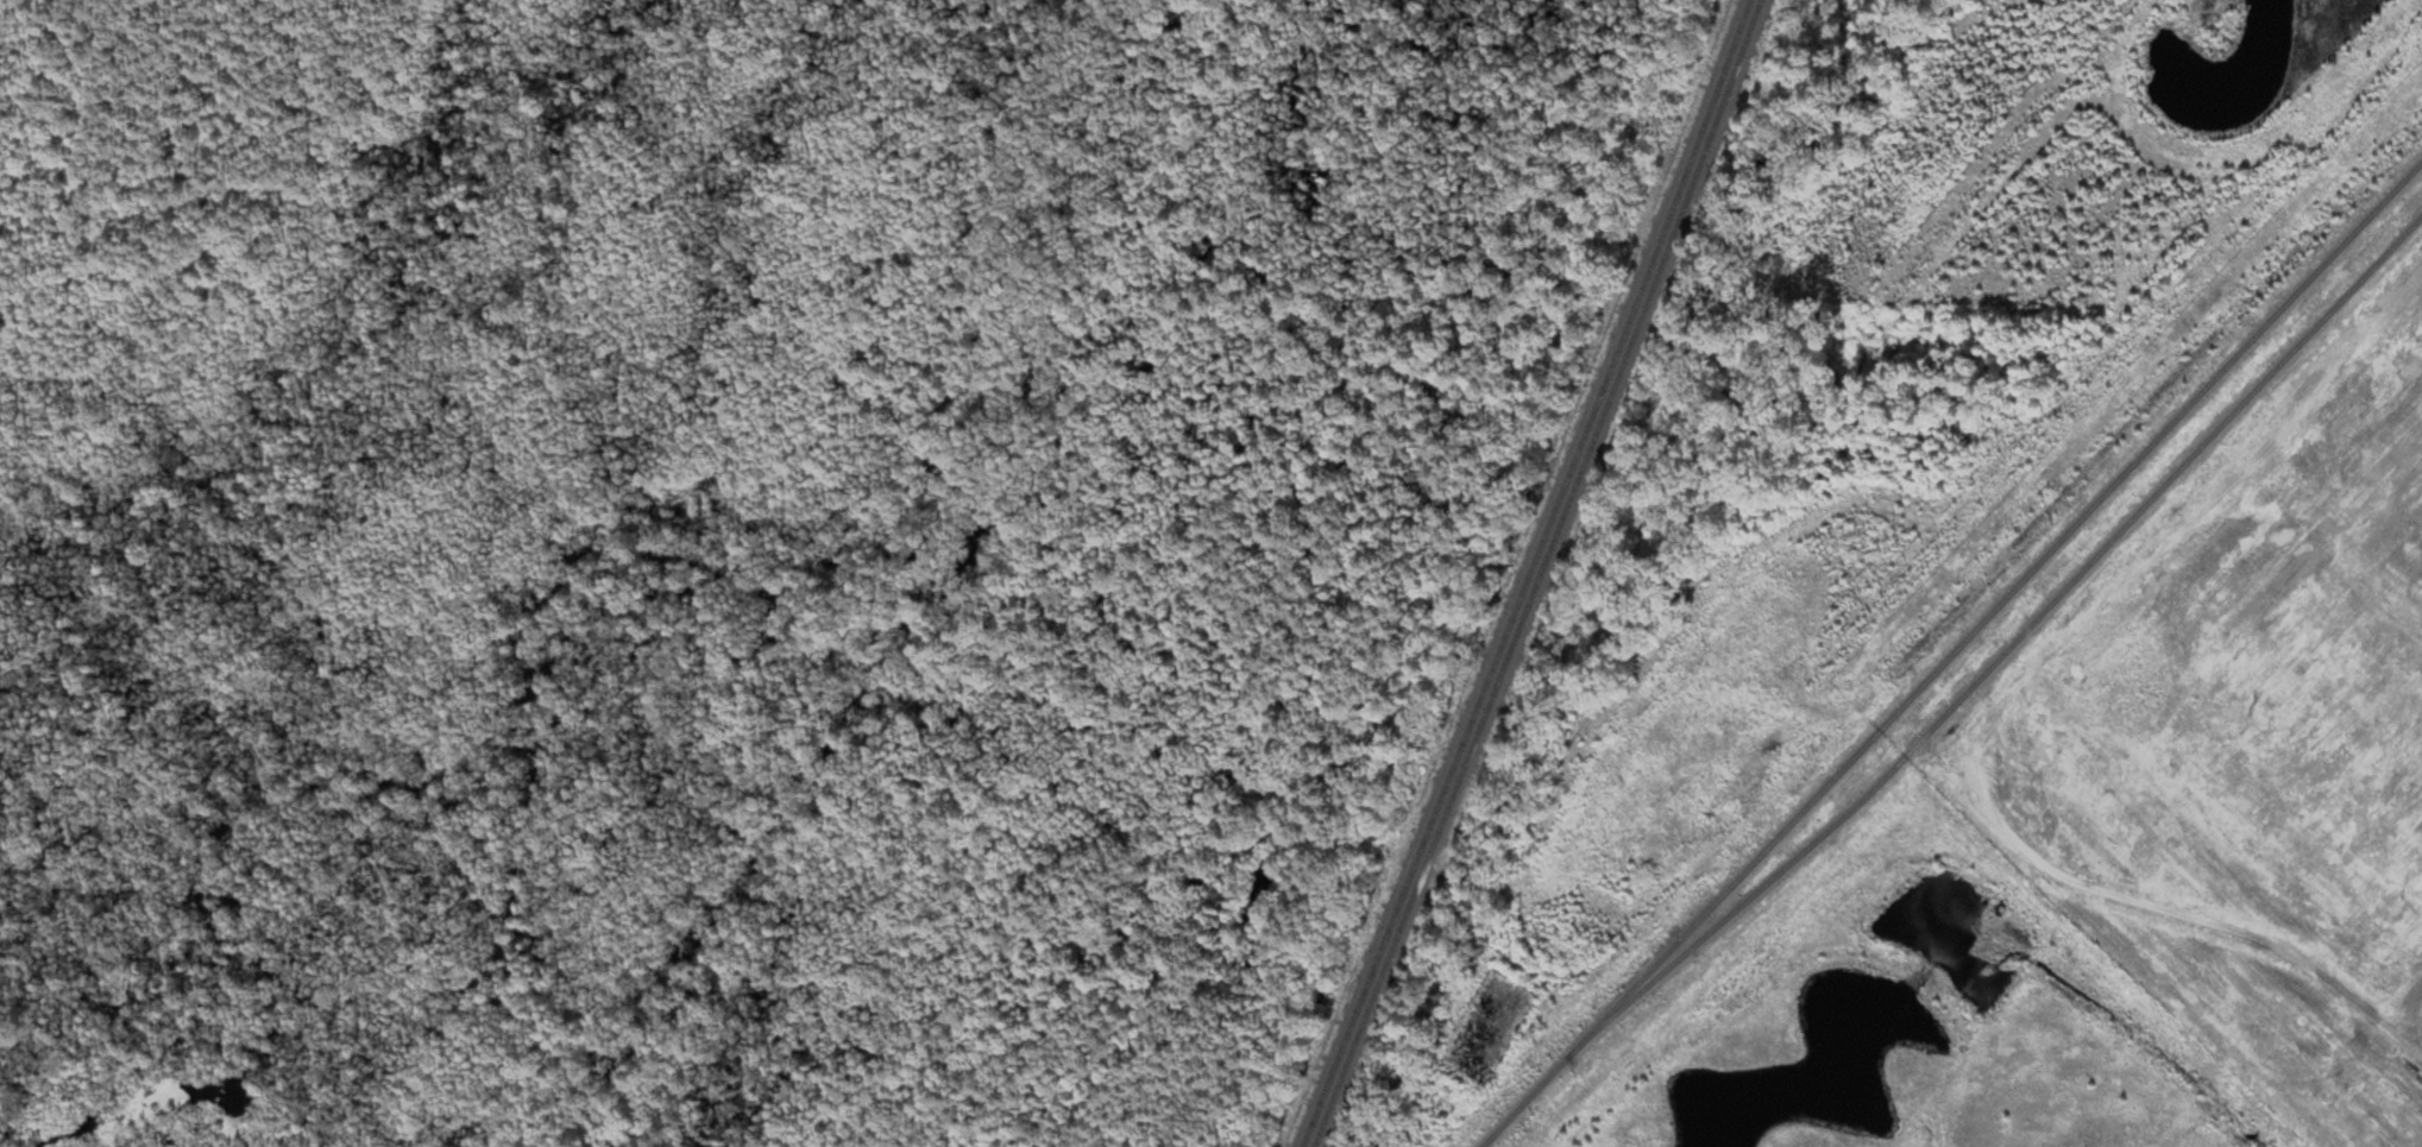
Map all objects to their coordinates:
railway: (1528, 574)
railway: (1540, 574)
railway: (1952, 654)

